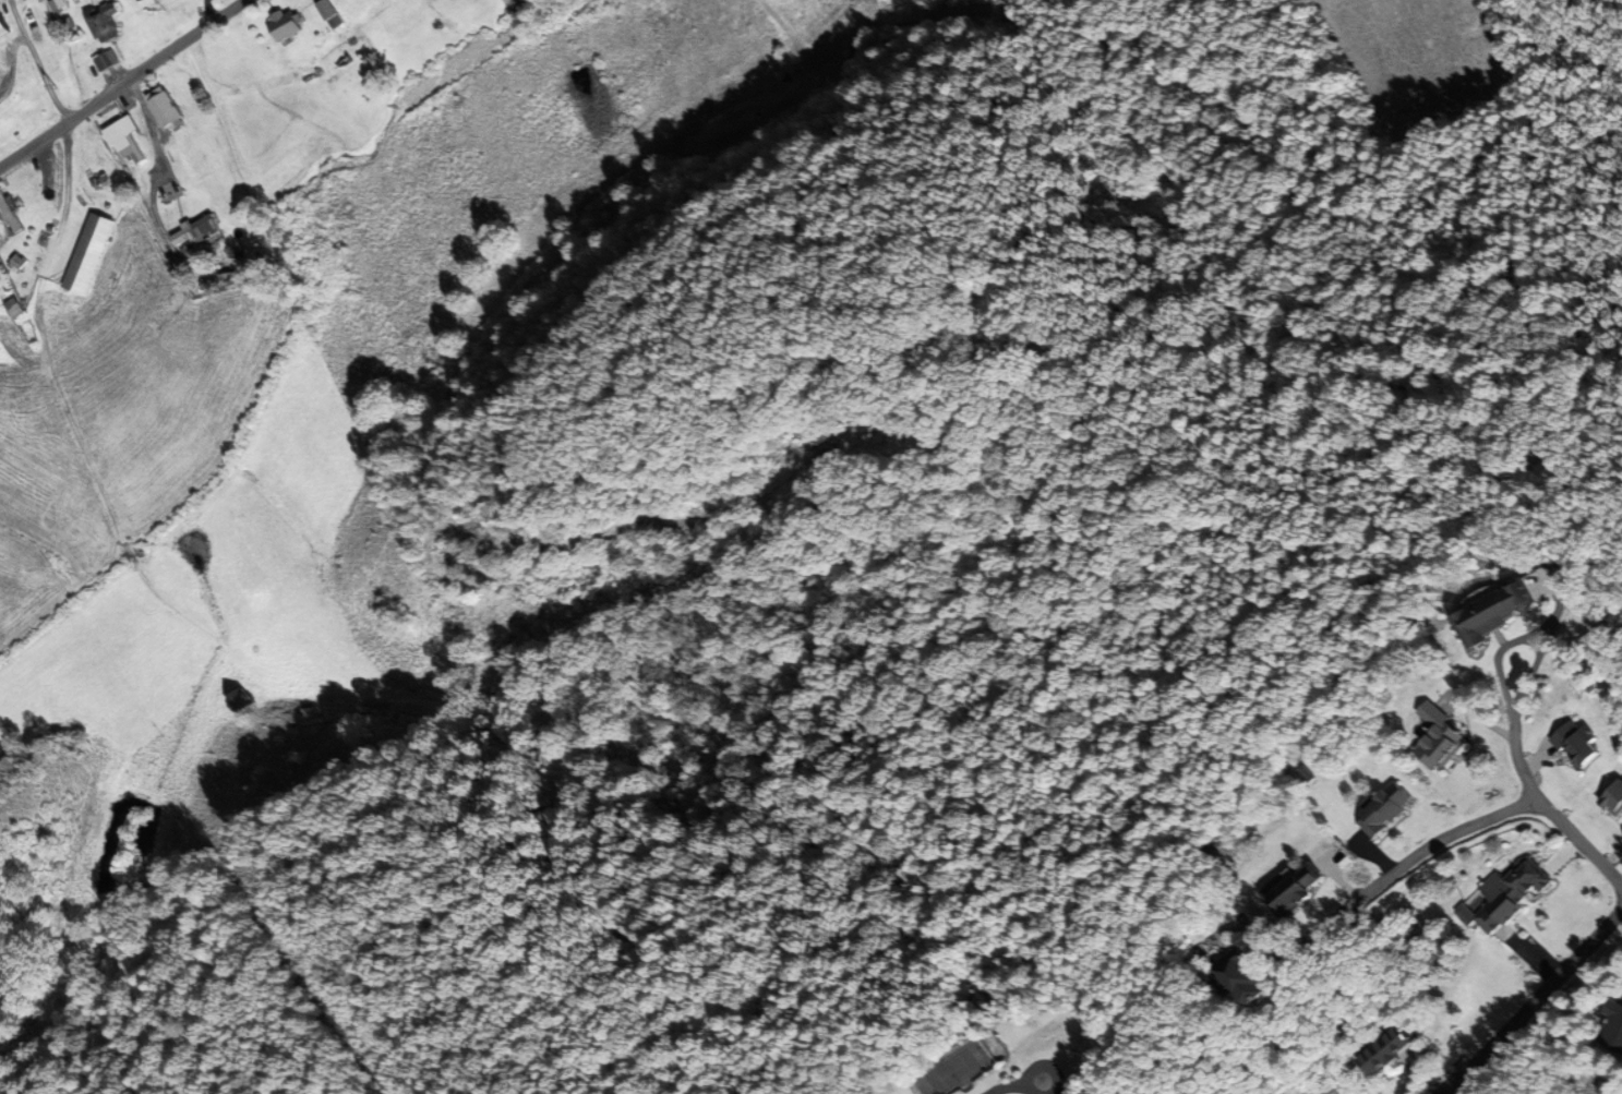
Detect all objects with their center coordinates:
building: (328, 14)
building: (105, 22)
building: (283, 25)
building: (2, 27)
road: (124, 85)
road: (23, 104)
building: (164, 109)
building: (123, 139)
building: (196, 231)
building: (0, 233)
building: (87, 254)
building: (12, 308)
building: (1494, 609)
building: (238, 704)
road: (1513, 730)
building: (1441, 736)
building: (1575, 743)
building: (1613, 797)
building: (1386, 809)
road: (1579, 838)
road: (1404, 865)
building: (1296, 888)
building: (1511, 894)
building: (1238, 977)
road: (1535, 1002)
building: (1620, 1020)
building: (1383, 1050)
road: (1046, 1063)
road: (1008, 1085)

